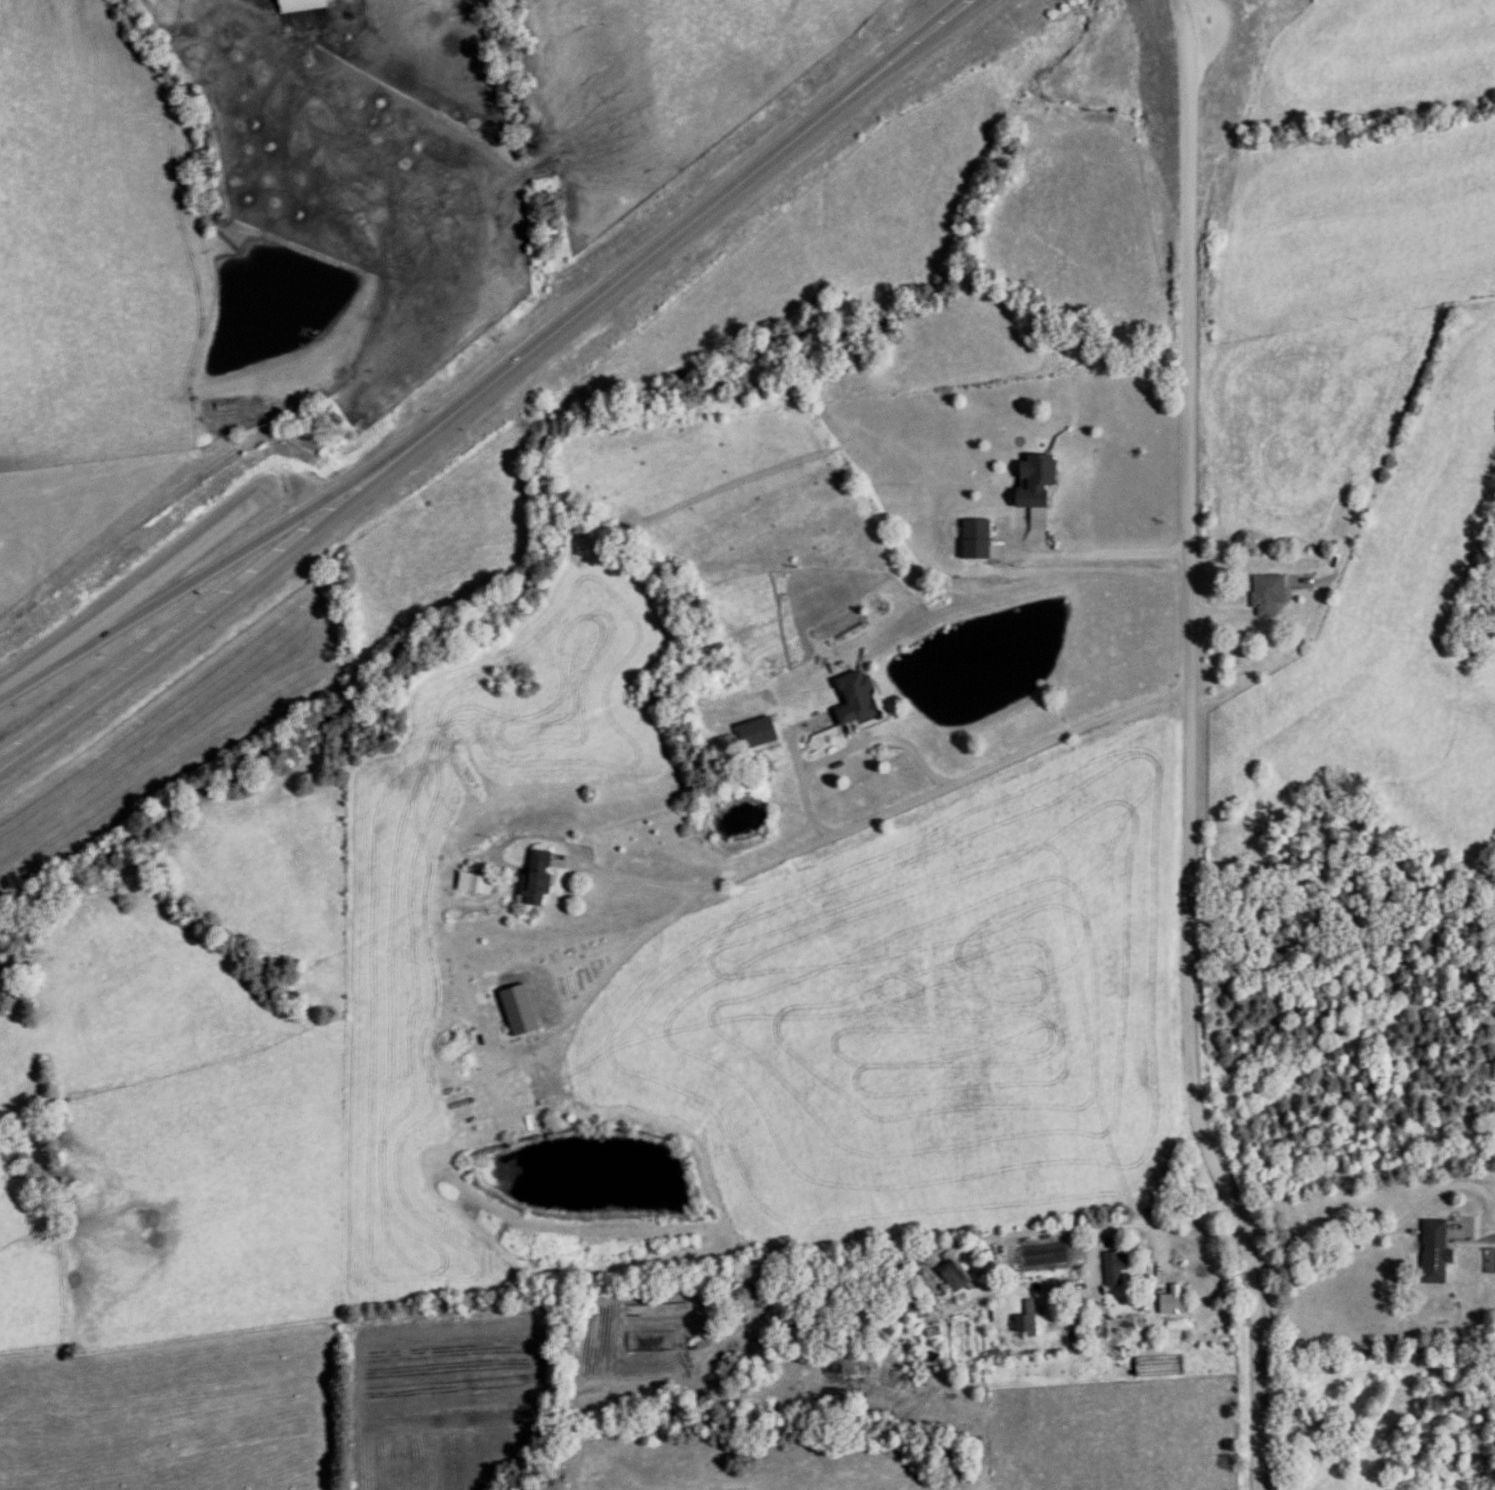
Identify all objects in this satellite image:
building: (307, 4)
road: (710, 211)
building: (1040, 481)
building: (980, 538)
road: (223, 555)
road: (1098, 559)
road: (222, 589)
building: (1263, 593)
building: (861, 698)
building: (760, 732)
road: (1190, 748)
road: (877, 816)
building: (541, 876)
building: (477, 883)
road: (617, 959)
road: (1405, 1215)
road: (1022, 1227)
building: (1430, 1250)
road: (1103, 1252)
building: (1112, 1267)
building: (1028, 1318)

